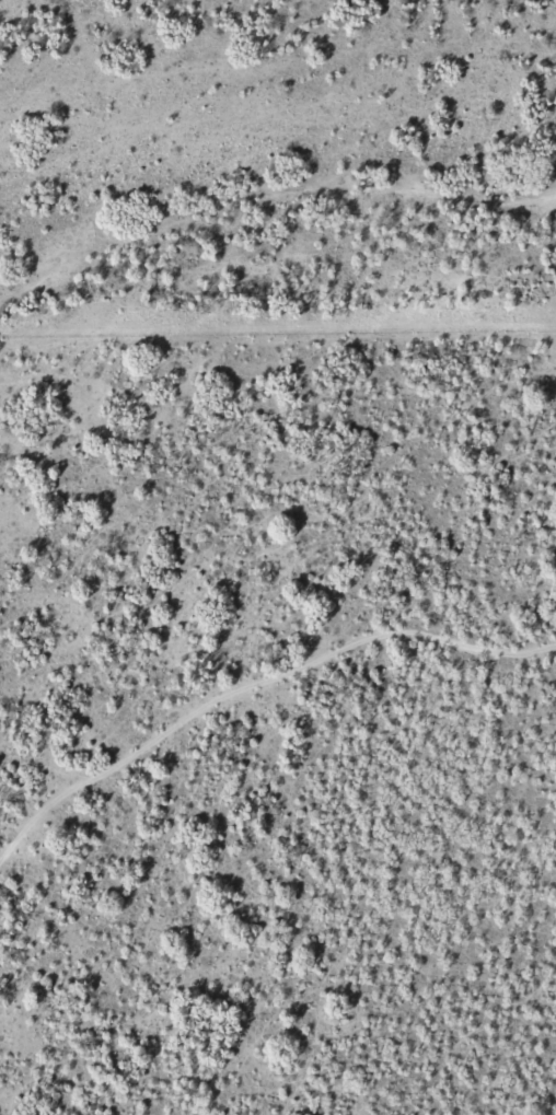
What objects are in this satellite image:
road: (260, 659)

